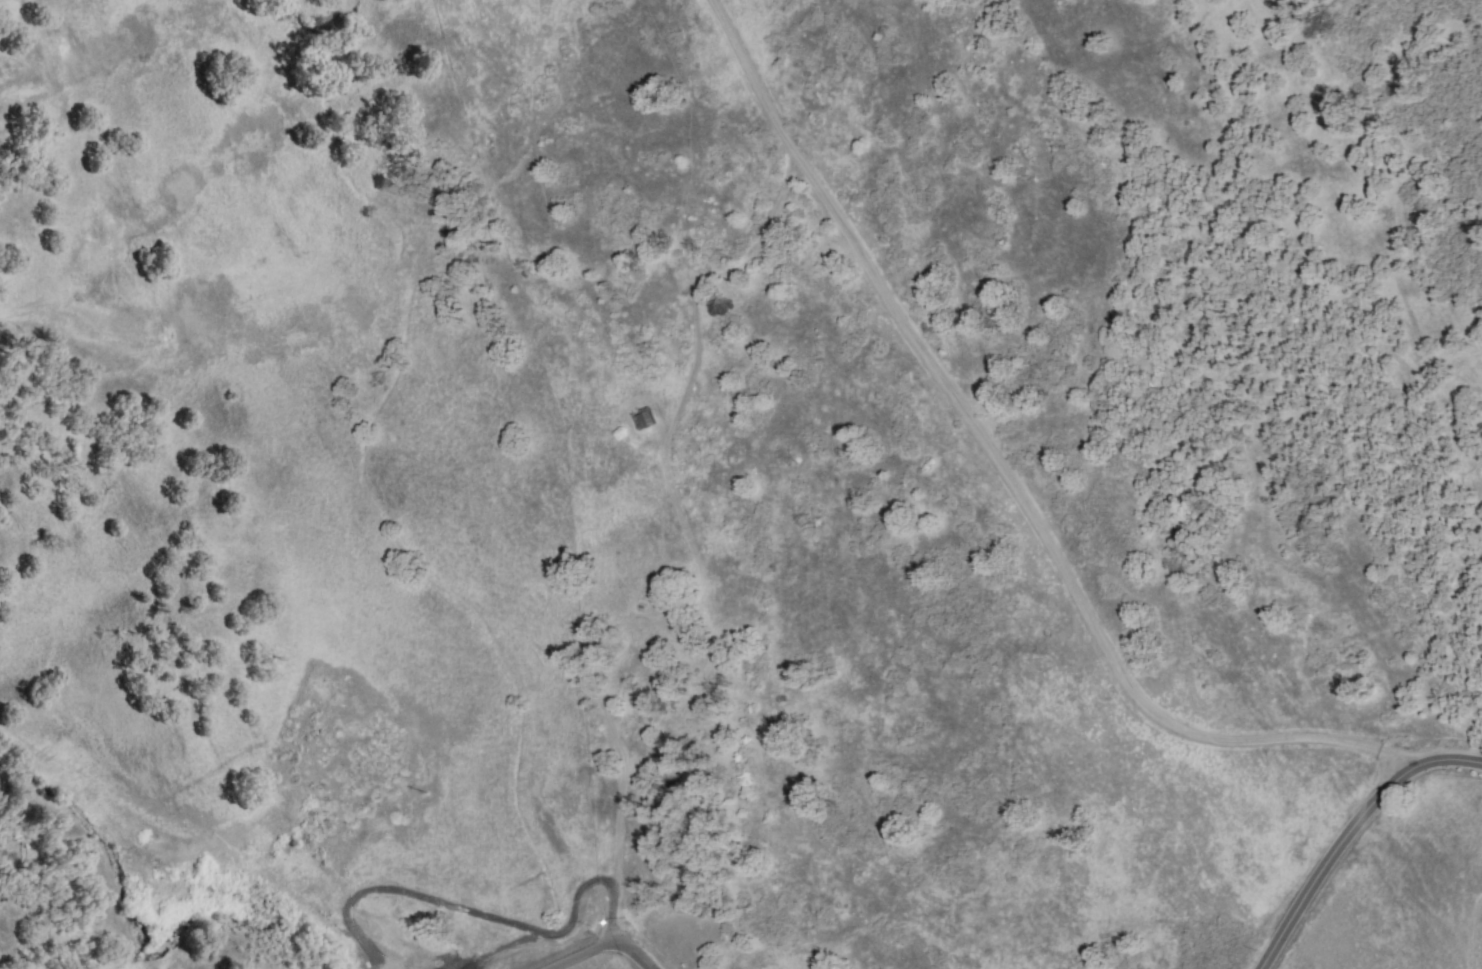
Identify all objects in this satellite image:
road: (1347, 832)
road: (598, 947)

